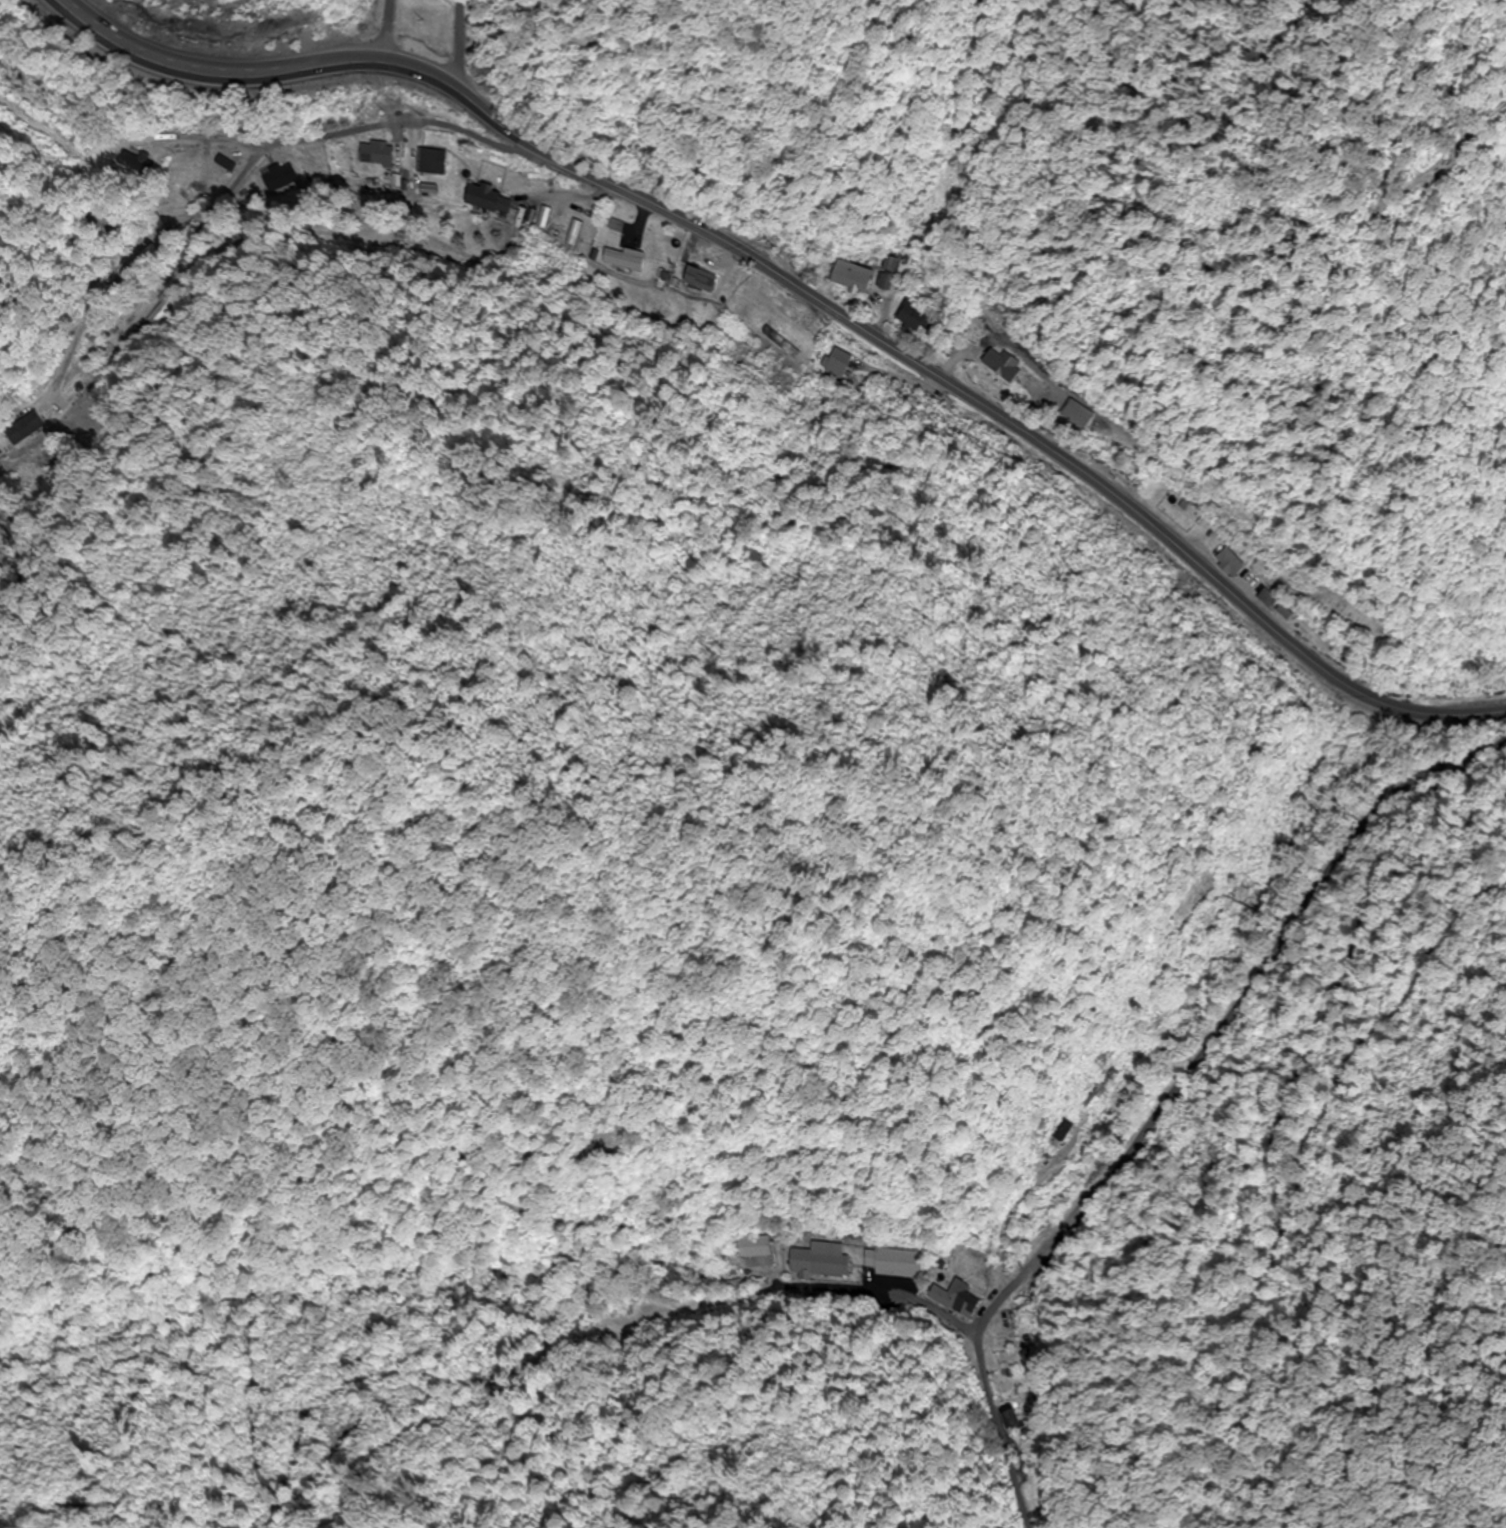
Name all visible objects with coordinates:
road: (316, 136)
building: (379, 154)
building: (435, 162)
building: (229, 164)
building: (187, 191)
building: (487, 198)
building: (570, 232)
building: (621, 260)
road: (776, 270)
building: (865, 279)
building: (700, 280)
building: (920, 318)
building: (782, 344)
building: (837, 361)
building: (1008, 366)
building: (1077, 410)
building: (31, 424)
building: (1232, 564)
building: (1275, 605)
road: (1447, 762)
building: (1103, 1088)
road: (1173, 1091)
building: (758, 1246)
building: (820, 1261)
building: (896, 1263)
building: (959, 1299)
building: (1011, 1320)
building: (1013, 1417)

